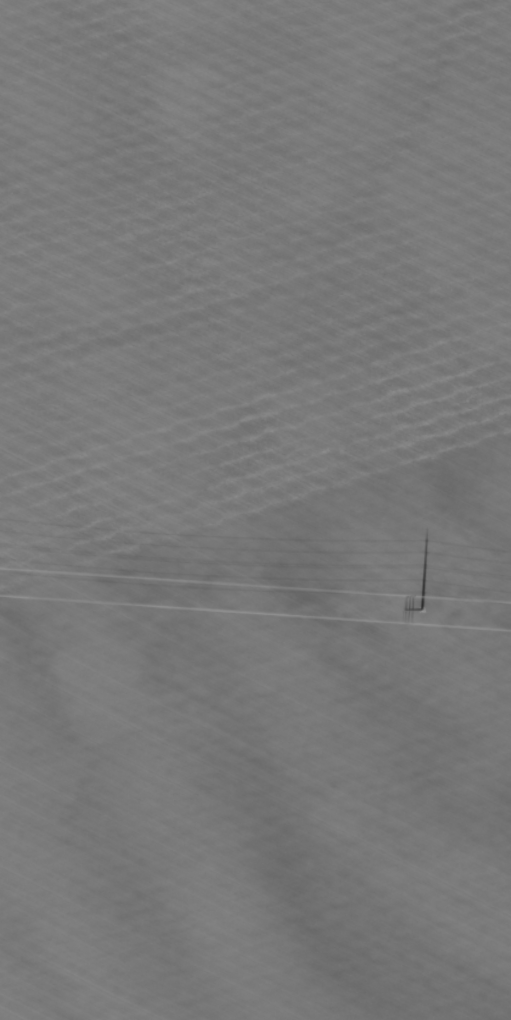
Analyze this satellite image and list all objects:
power tower: (424, 608)

